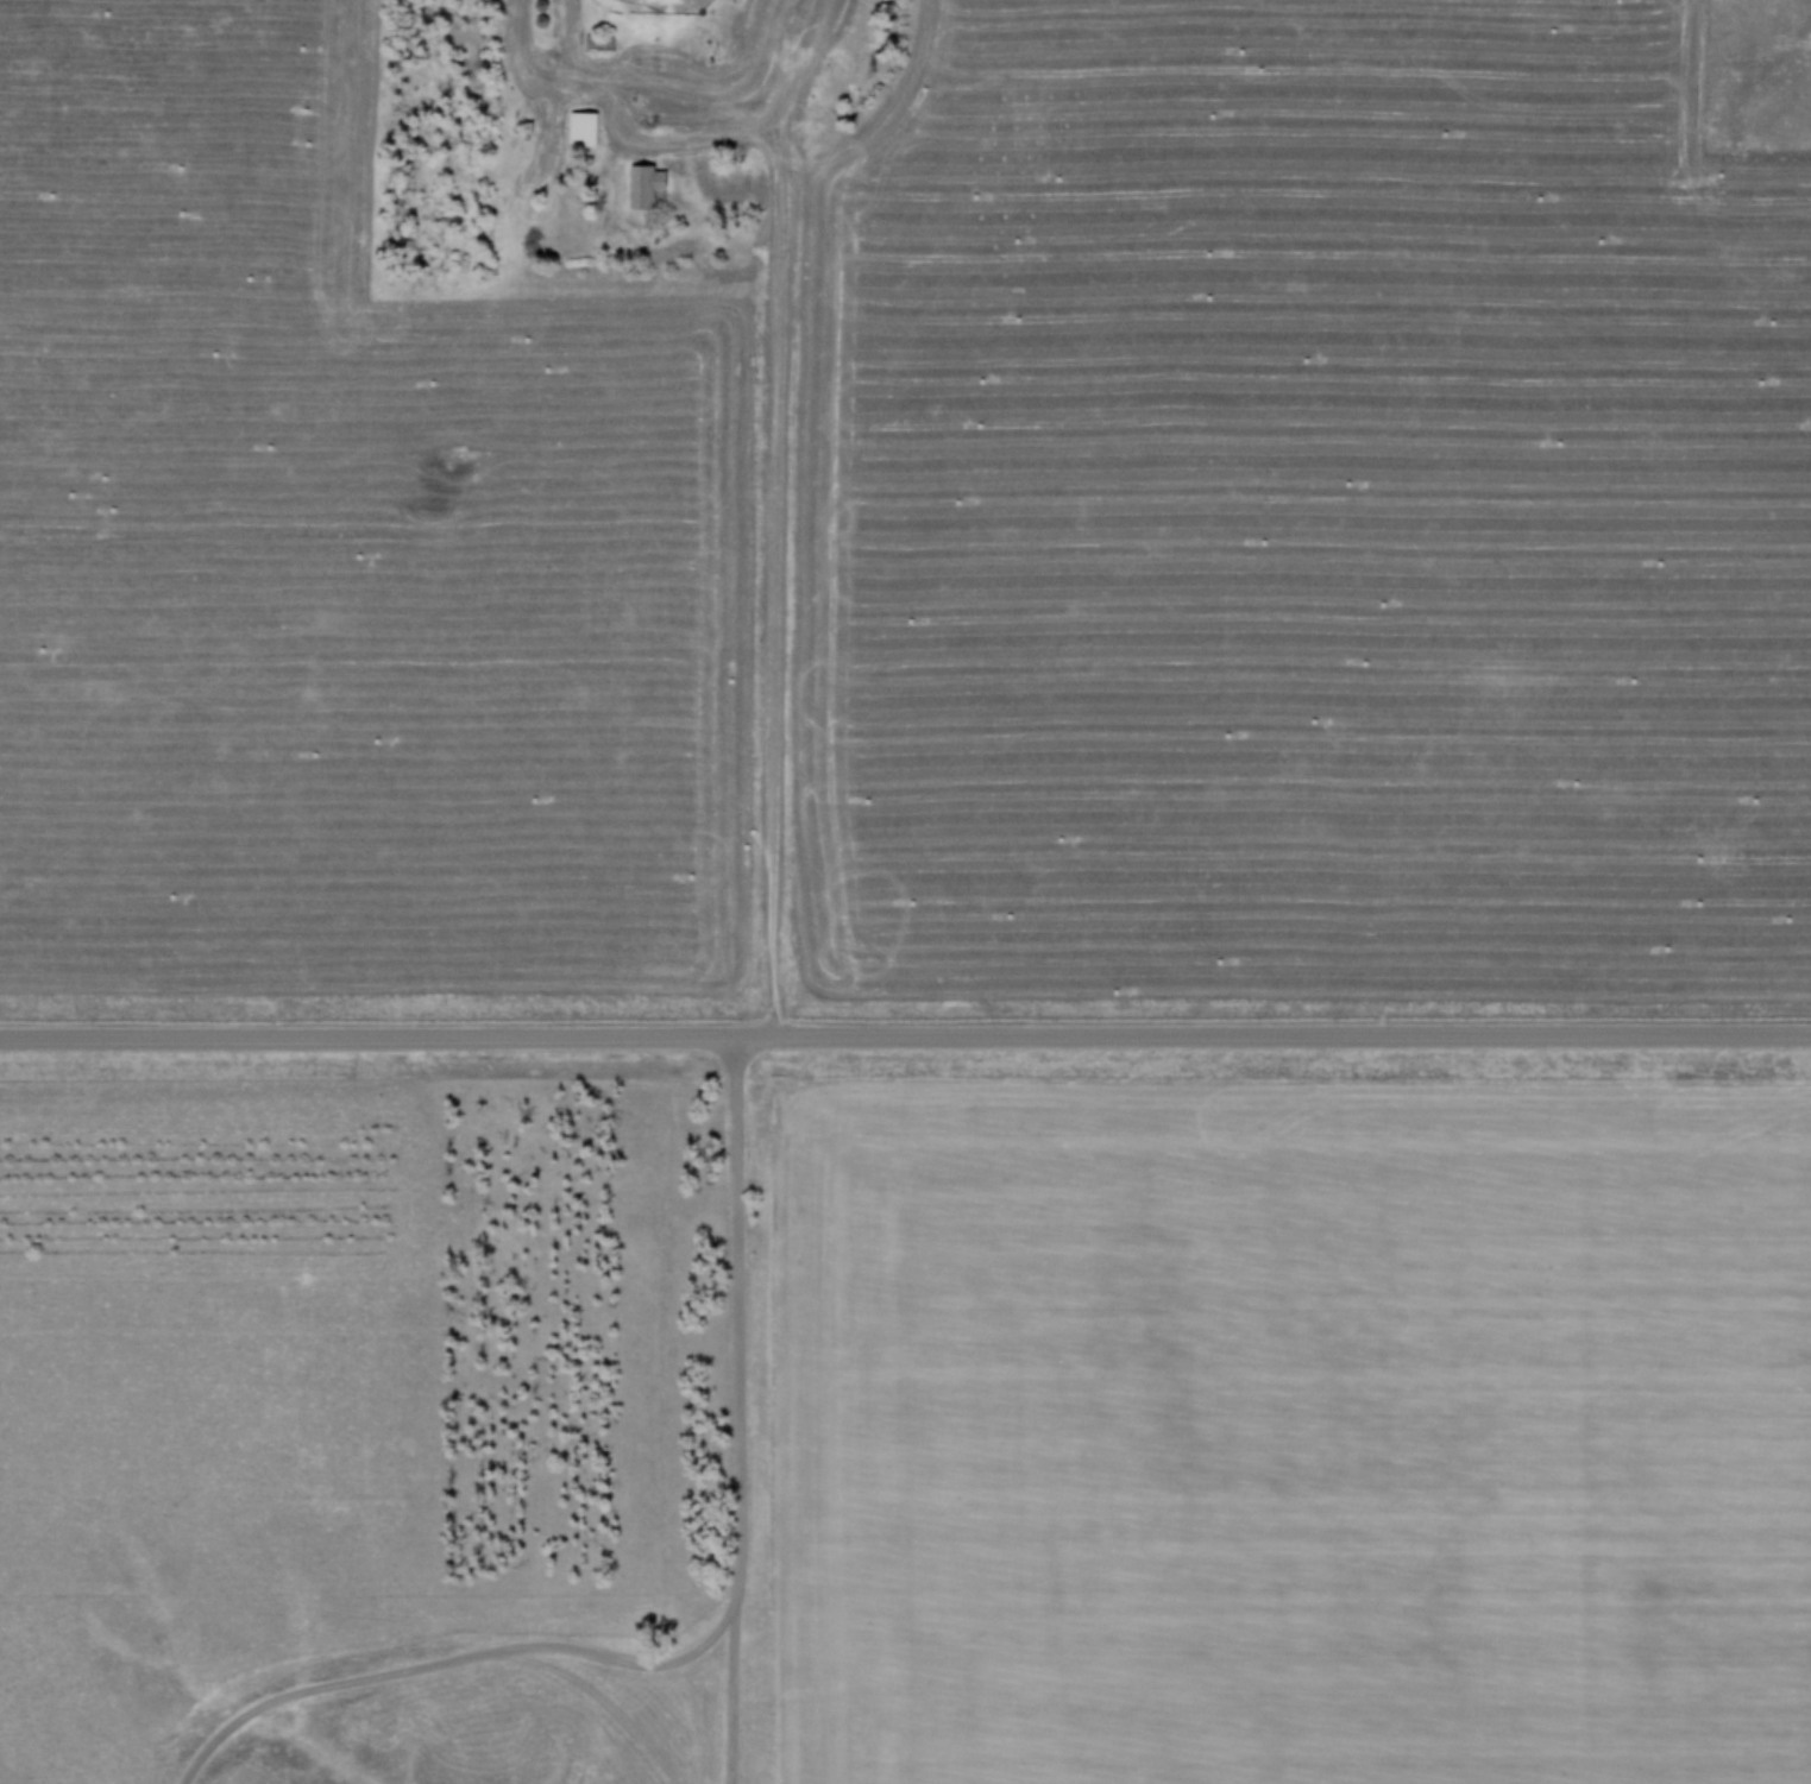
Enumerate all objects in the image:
building: (596, 48)
building: (581, 133)
building: (643, 189)
road: (905, 1034)
road: (731, 1410)
road: (455, 1669)

